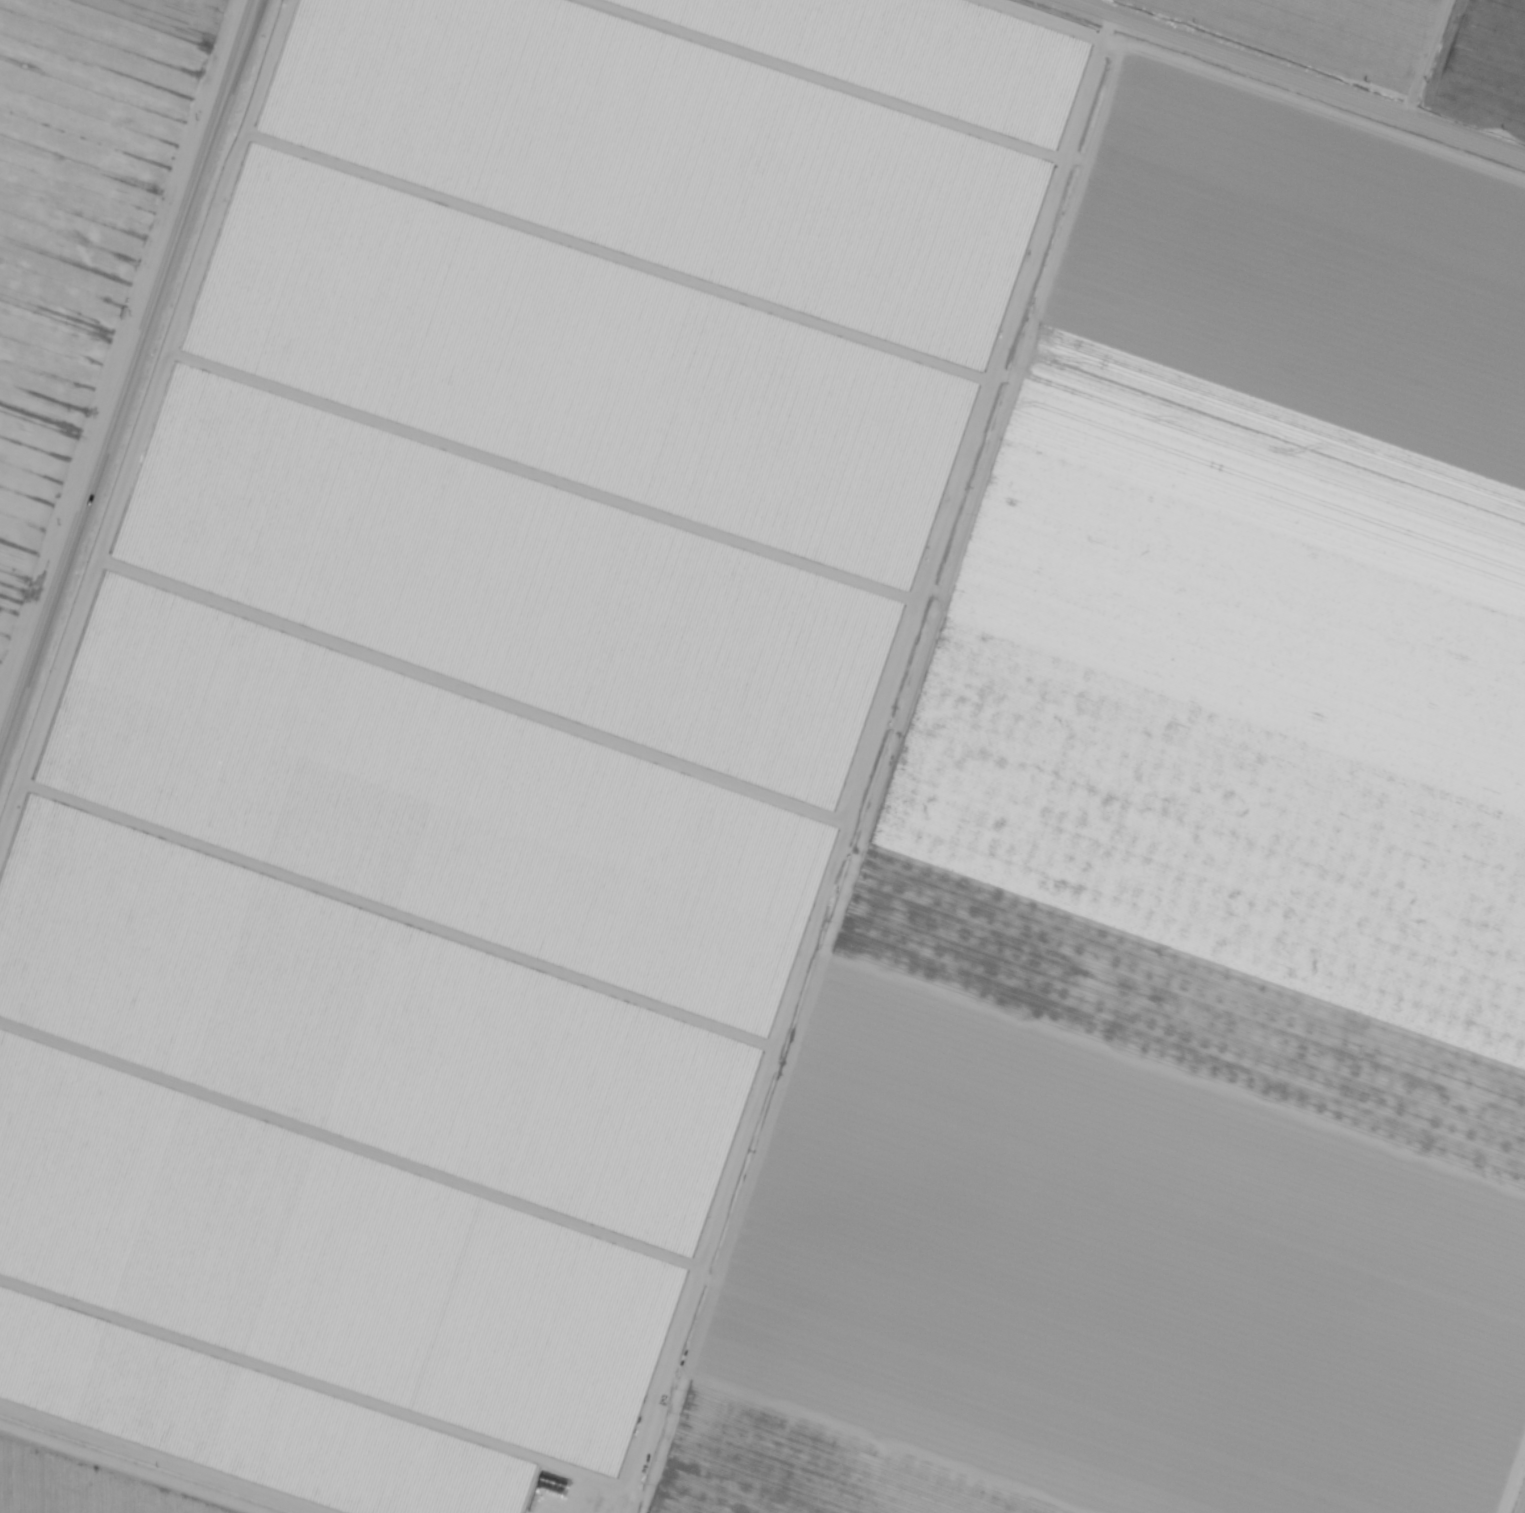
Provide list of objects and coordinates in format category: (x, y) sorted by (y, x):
crop: (208, 6)
crop: (1317, 34)
crop: (1481, 68)
road: (1285, 83)
crop: (95, 113)
crop: (51, 353)
road: (127, 369)
crop: (17, 563)
crop: (484, 712)
crop: (1182, 898)
road: (145, 1460)
road: (1512, 1476)
crop: (77, 1487)
crop: (1523, 1507)

